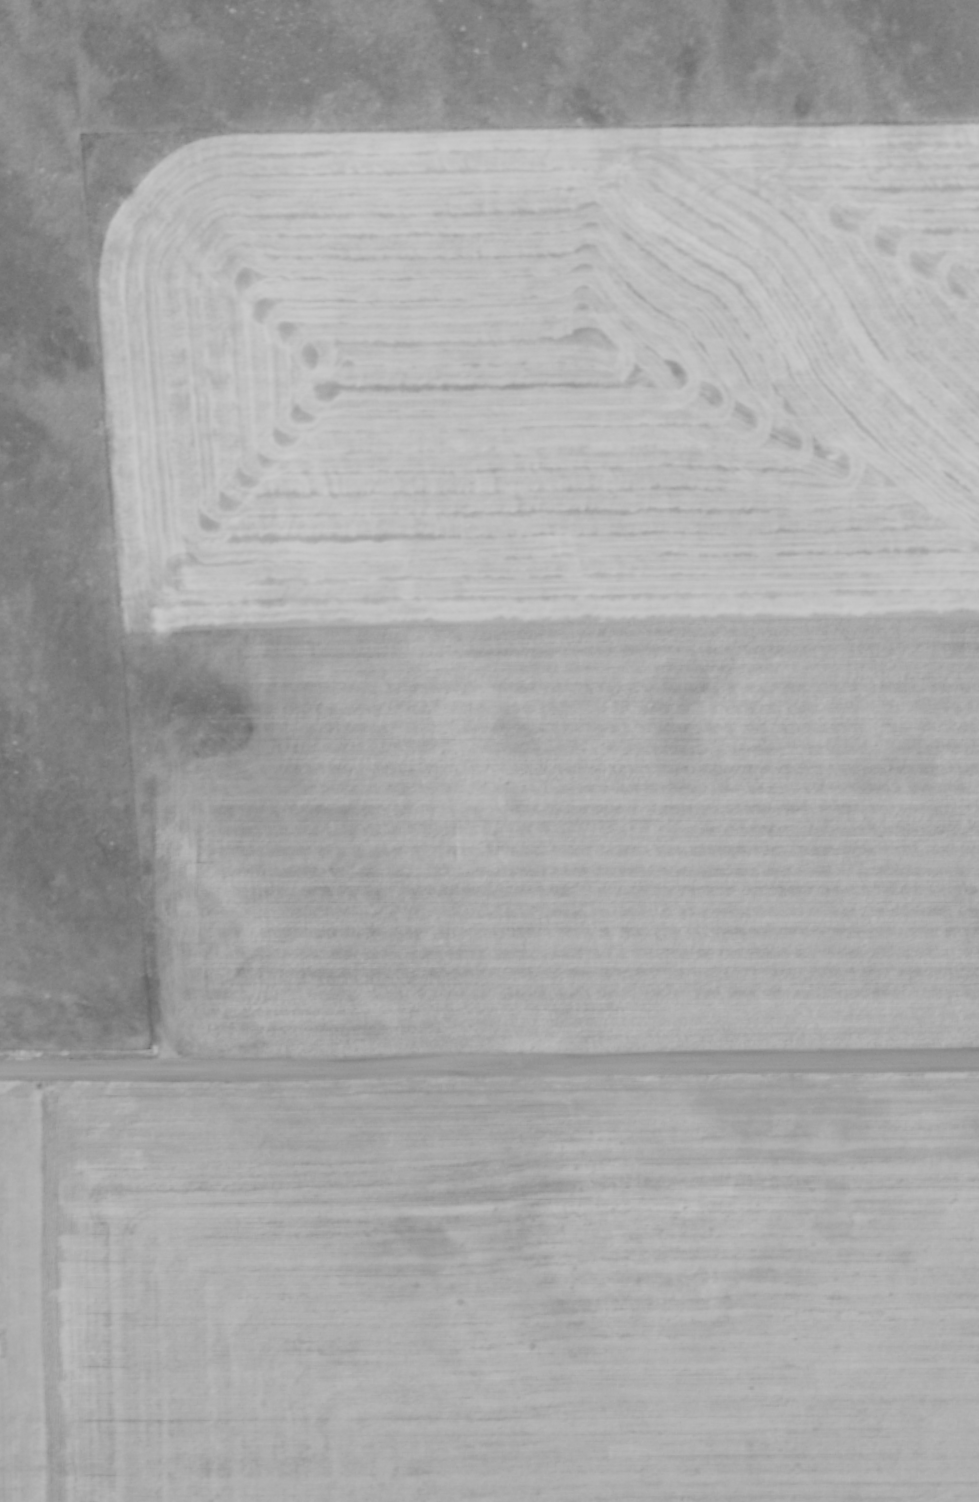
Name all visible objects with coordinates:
crop: (574, 576)
road: (489, 1061)
crop: (490, 1287)

